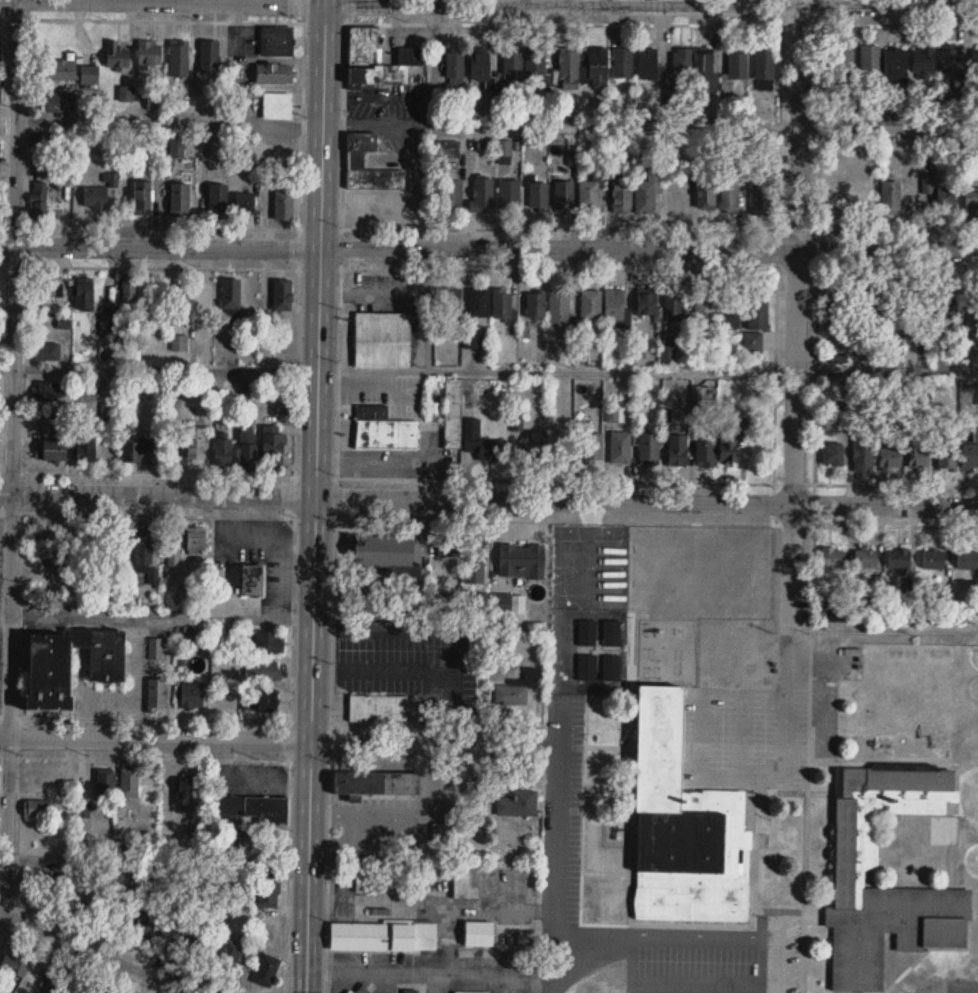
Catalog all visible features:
road: (564, 3)
road: (887, 23)
building: (277, 41)
building: (0, 47)
building: (150, 52)
building: (117, 54)
building: (413, 55)
building: (209, 56)
building: (180, 58)
building: (843, 58)
building: (532, 60)
building: (567, 60)
building: (596, 60)
building: (645, 60)
building: (510, 61)
building: (621, 61)
building: (735, 61)
building: (870, 61)
building: (925, 61)
building: (477, 62)
building: (762, 62)
building: (951, 62)
building: (975, 62)
building: (896, 64)
building: (680, 65)
building: (700, 66)
building: (455, 67)
building: (58, 69)
building: (89, 73)
building: (273, 73)
building: (0, 95)
building: (58, 102)
building: (278, 105)
building: (0, 123)
road: (820, 124)
road: (496, 125)
building: (43, 139)
building: (355, 160)
building: (760, 190)
building: (453, 192)
building: (621, 192)
building: (482, 193)
building: (509, 194)
building: (539, 194)
building: (587, 194)
building: (706, 194)
building: (643, 195)
building: (564, 196)
building: (729, 196)
building: (891, 196)
building: (96, 197)
building: (143, 197)
building: (838, 197)
building: (946, 198)
building: (178, 199)
building: (217, 200)
building: (971, 200)
building: (39, 201)
building: (284, 205)
building: (244, 207)
road: (489, 248)
road: (817, 248)
road: (408, 268)
building: (47, 287)
building: (129, 290)
building: (84, 293)
building: (283, 295)
building: (232, 297)
building: (477, 300)
building: (703, 301)
building: (534, 302)
building: (589, 302)
building: (612, 302)
building: (647, 302)
building: (502, 303)
building: (178, 304)
building: (922, 304)
building: (452, 305)
building: (557, 306)
building: (727, 306)
building: (947, 306)
building: (674, 307)
building: (756, 307)
building: (837, 307)
building: (888, 307)
building: (972, 310)
road: (795, 315)
building: (109, 320)
building: (472, 339)
building: (382, 340)
building: (180, 343)
building: (47, 352)
road: (158, 369)
road: (556, 371)
road: (886, 371)
building: (49, 391)
building: (453, 413)
building: (51, 426)
building: (383, 429)
building: (733, 438)
building: (482, 442)
building: (196, 444)
building: (86, 445)
building: (621, 447)
building: (274, 448)
building: (248, 449)
building: (590, 449)
building: (649, 449)
building: (678, 450)
building: (706, 450)
building: (918, 450)
road: (12, 451)
building: (52, 451)
building: (139, 451)
building: (863, 451)
building: (892, 451)
building: (224, 452)
building: (971, 452)
building: (833, 454)
building: (947, 455)
road: (167, 473)
road: (315, 496)
road: (335, 496)
road: (488, 499)
road: (167, 513)
building: (196, 541)
building: (48, 545)
building: (449, 548)
building: (387, 551)
building: (145, 552)
building: (829, 556)
building: (864, 556)
building: (897, 557)
building: (932, 557)
building: (174, 558)
building: (966, 558)
building: (474, 561)
building: (521, 561)
building: (248, 580)
building: (103, 585)
road: (161, 616)
road: (4, 617)
road: (449, 628)
building: (588, 633)
building: (612, 634)
building: (269, 643)
building: (70, 665)
building: (588, 667)
building: (611, 667)
building: (263, 670)
building: (157, 694)
building: (192, 695)
building: (511, 695)
building: (259, 703)
building: (378, 708)
parking lot: (770, 727)
road: (280, 741)
road: (725, 774)
road: (456, 776)
parking lot: (569, 778)
building: (128, 783)
building: (376, 783)
building: (105, 787)
building: (185, 790)
building: (519, 803)
building: (257, 807)
building: (37, 808)
building: (84, 810)
road: (400, 816)
building: (685, 825)
building: (254, 845)
road: (346, 847)
building: (849, 851)
road: (157, 861)
road: (556, 861)
building: (40, 879)
building: (389, 883)
building: (268, 894)
building: (135, 917)
building: (479, 933)
building: (178, 934)
road: (2, 935)
building: (383, 936)
road: (125, 941)
road: (683, 943)
road: (98, 952)
parking lot: (722, 953)
building: (229, 954)
road: (70, 962)
building: (16, 965)
building: (266, 969)
building: (49, 970)
road: (436, 976)
road: (437, 985)
building: (350, 991)
building: (411, 991)
building: (468, 992)

